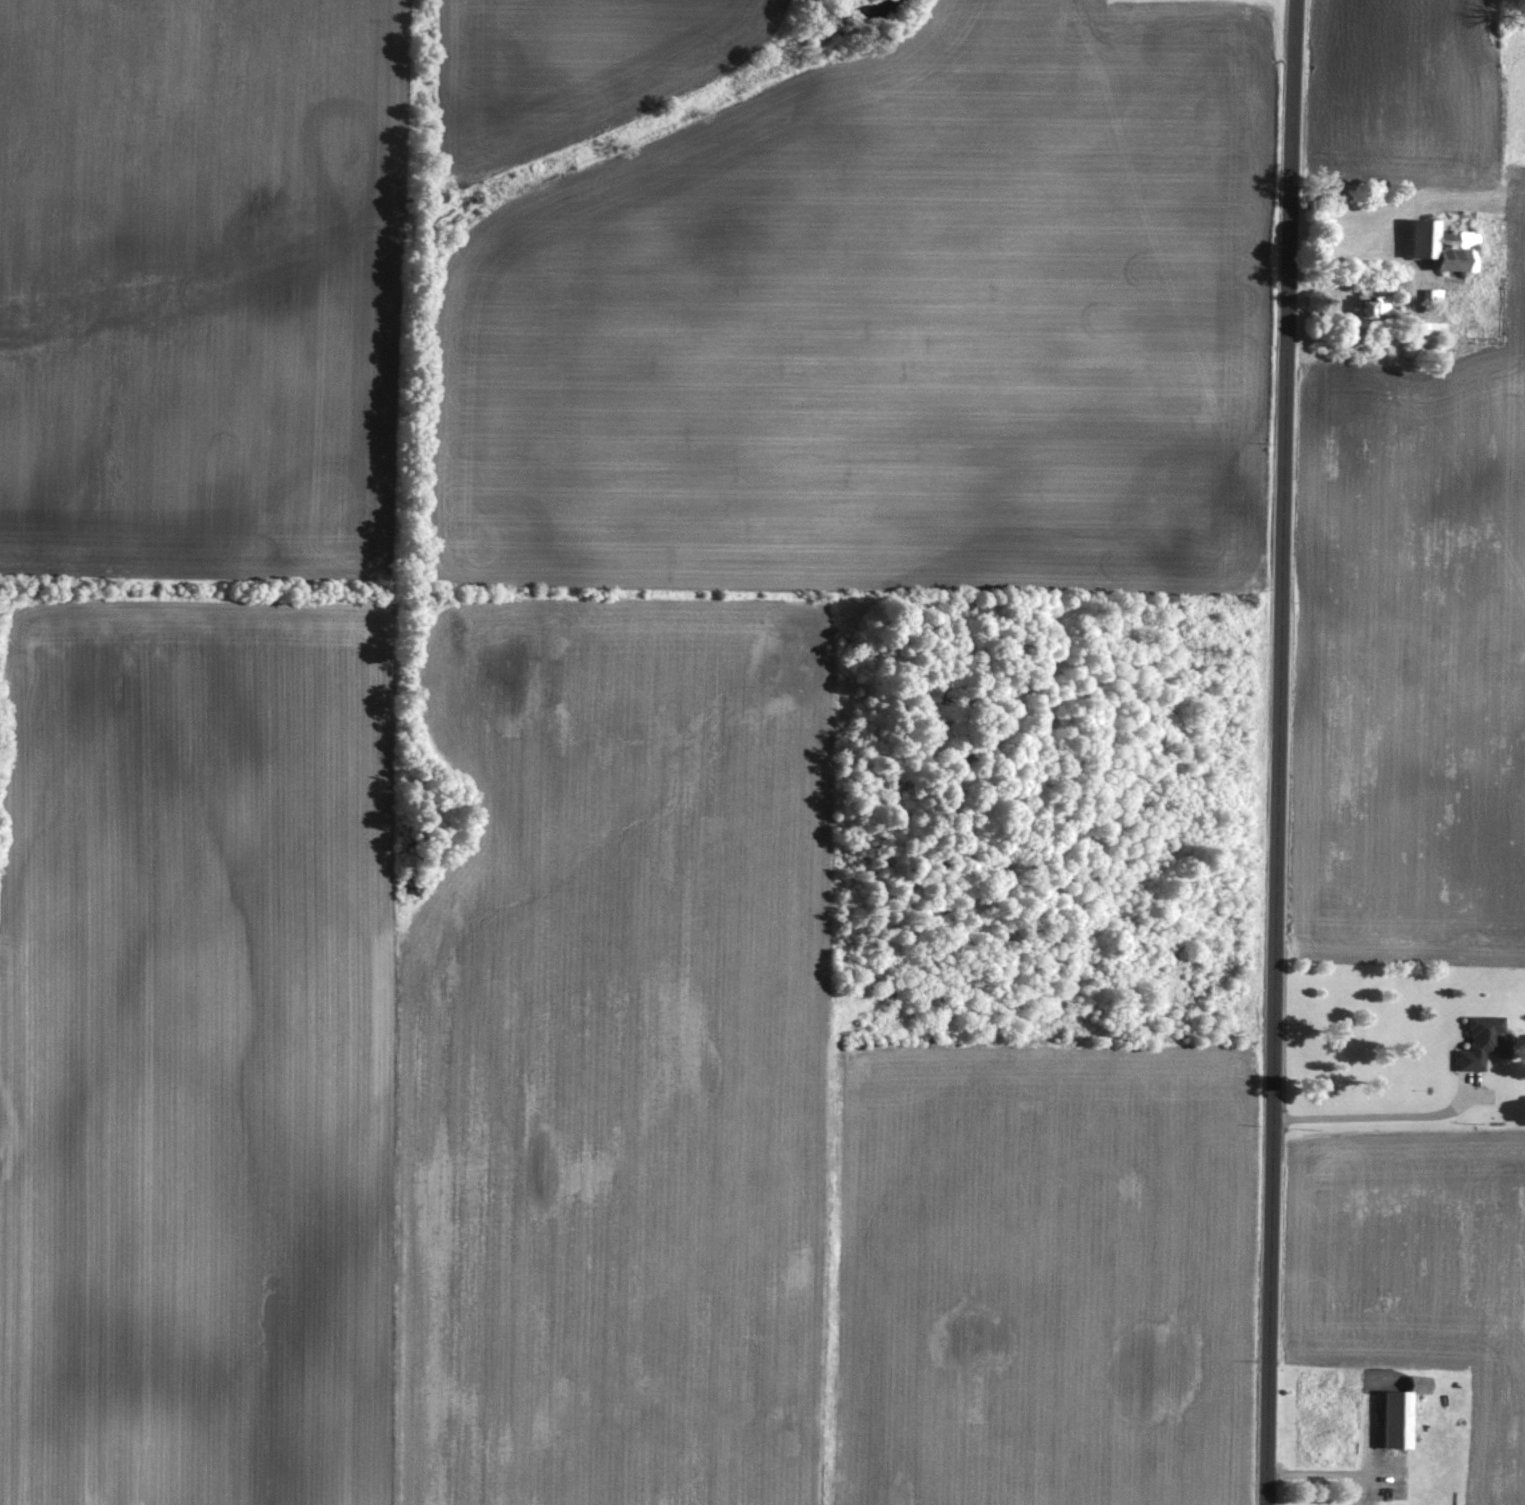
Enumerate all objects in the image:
building: (1441, 245)
building: (1367, 305)
road: (1279, 752)
building: (1478, 1040)
road: (1379, 1114)
building: (1399, 1411)
road: (1320, 1474)

